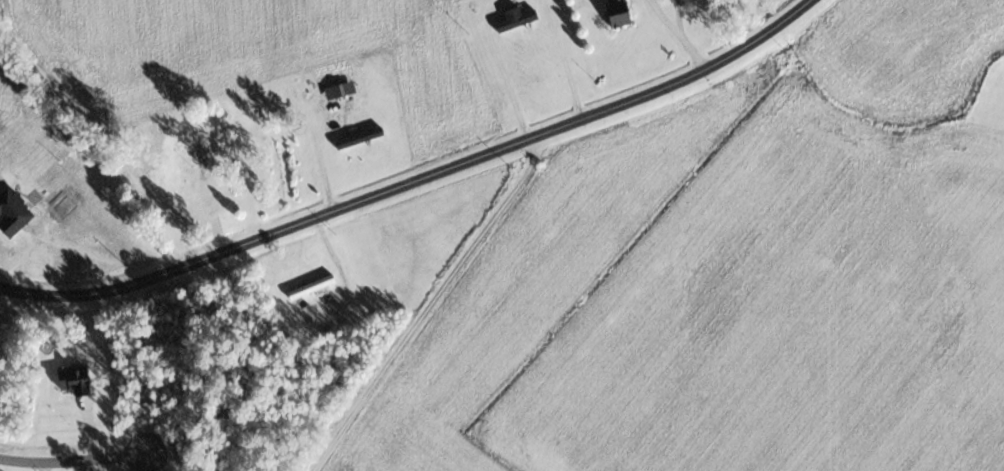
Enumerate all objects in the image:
building: (621, 13)
building: (517, 18)
building: (318, 94)
building: (330, 129)
road: (411, 175)
building: (312, 286)
road: (73, 465)

